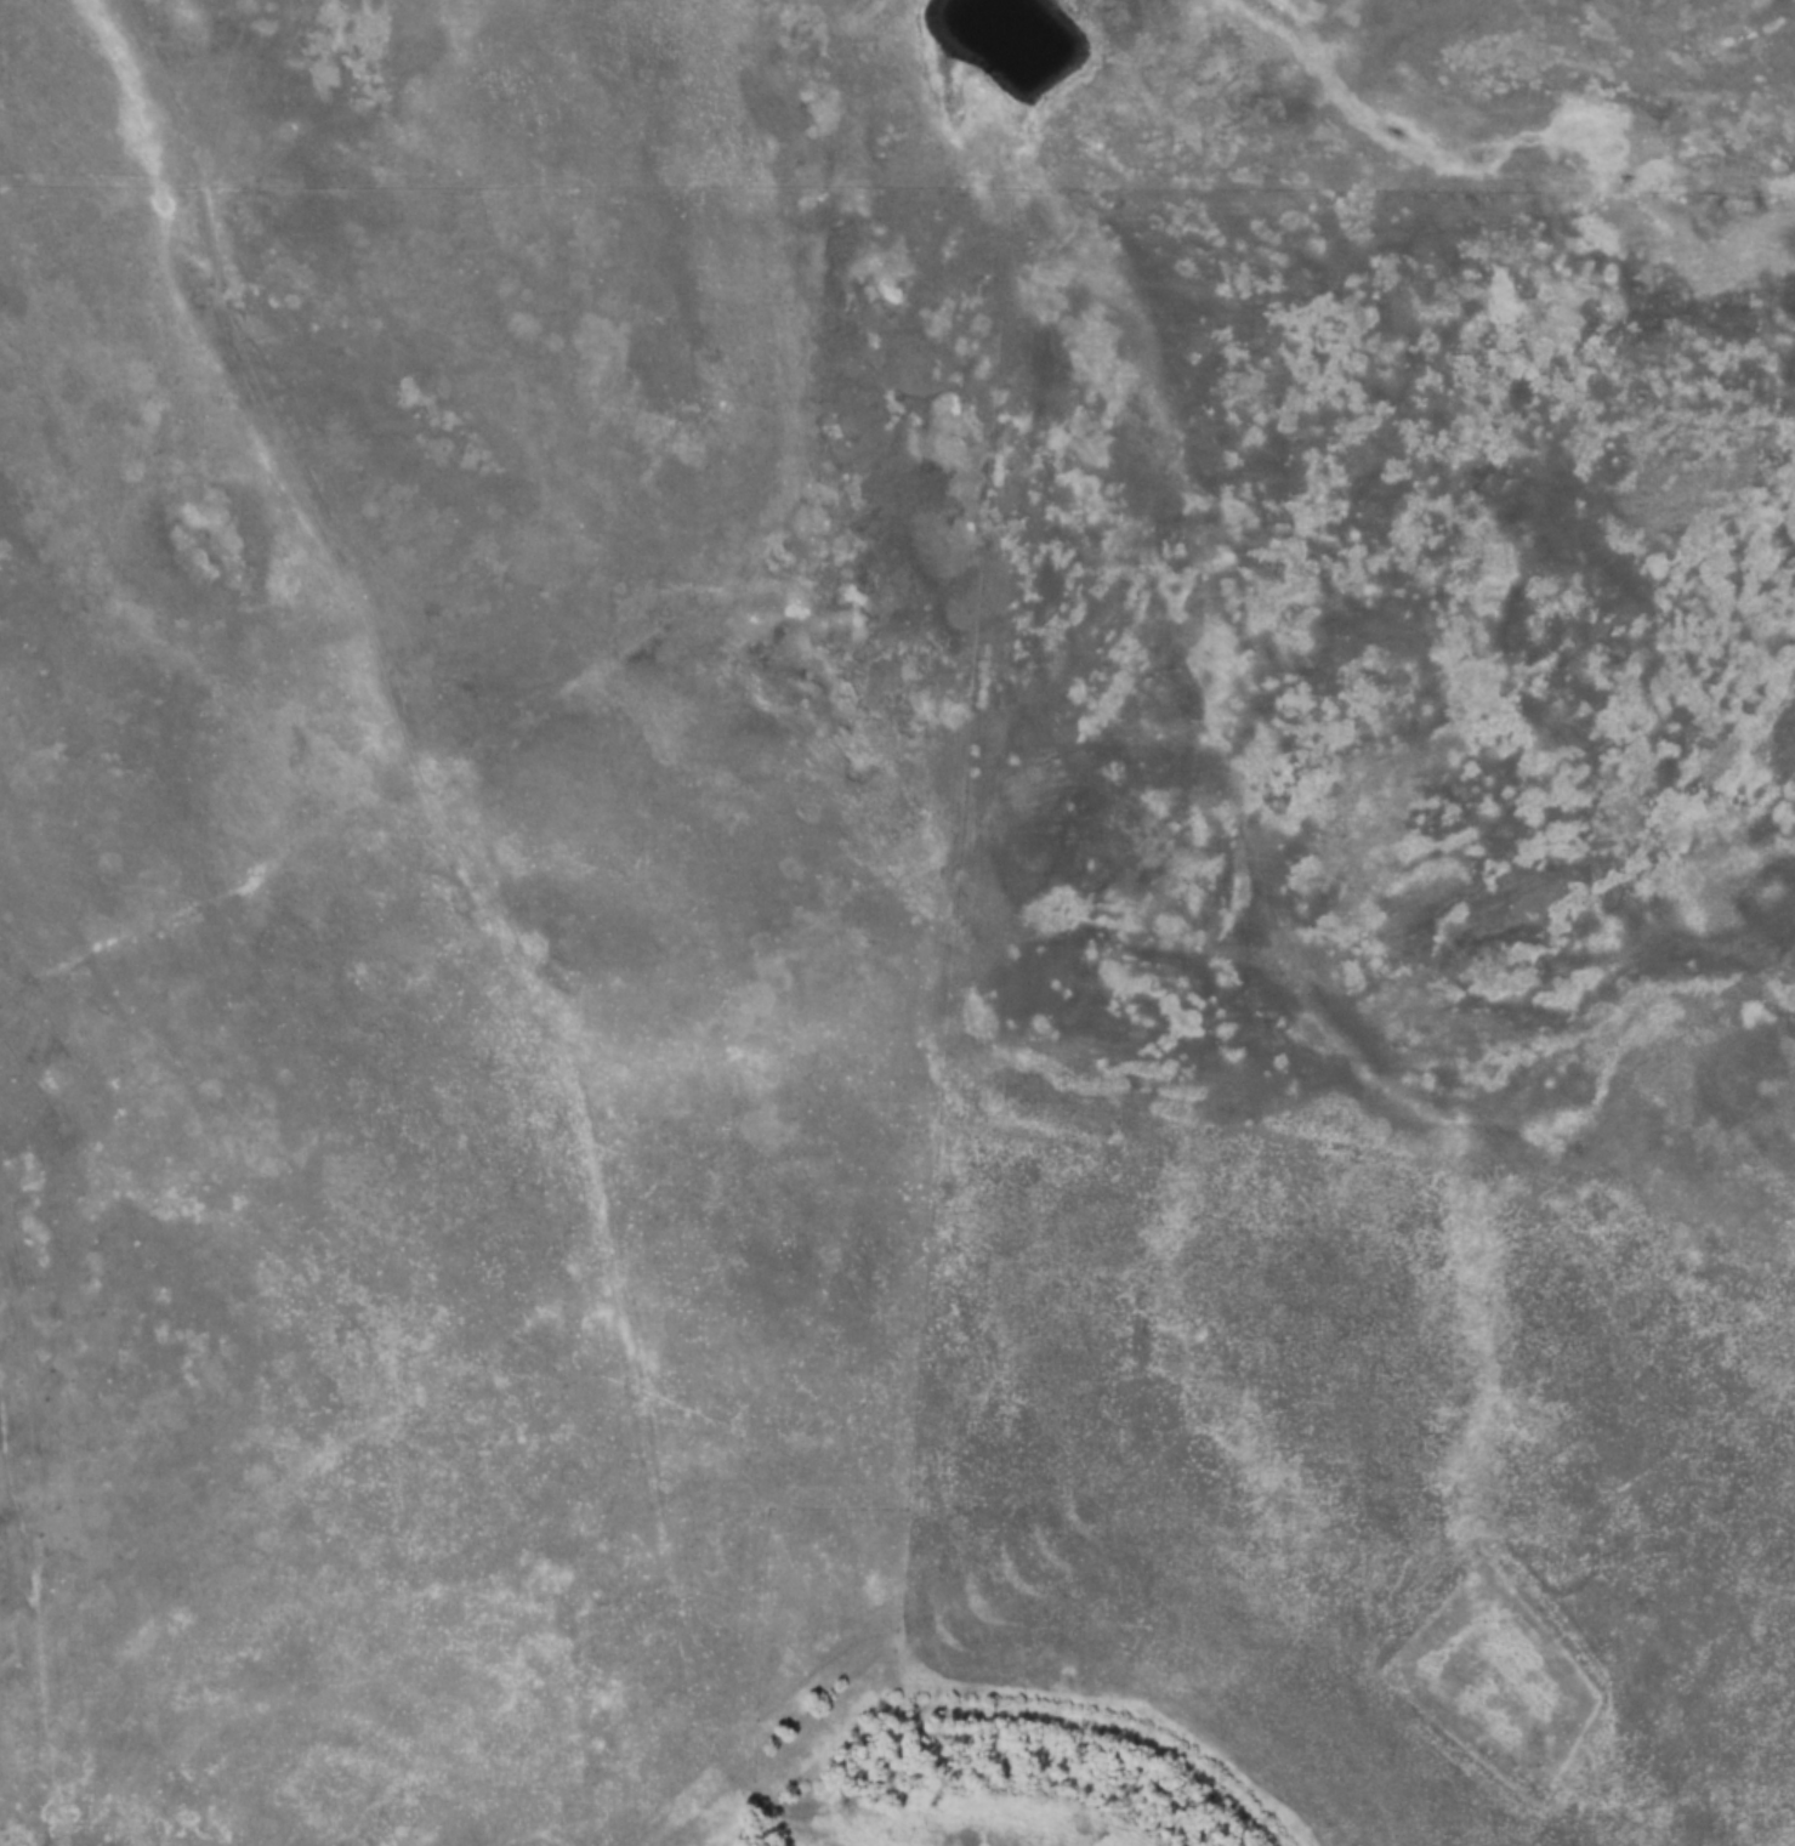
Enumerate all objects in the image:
dam: (867, 11)

